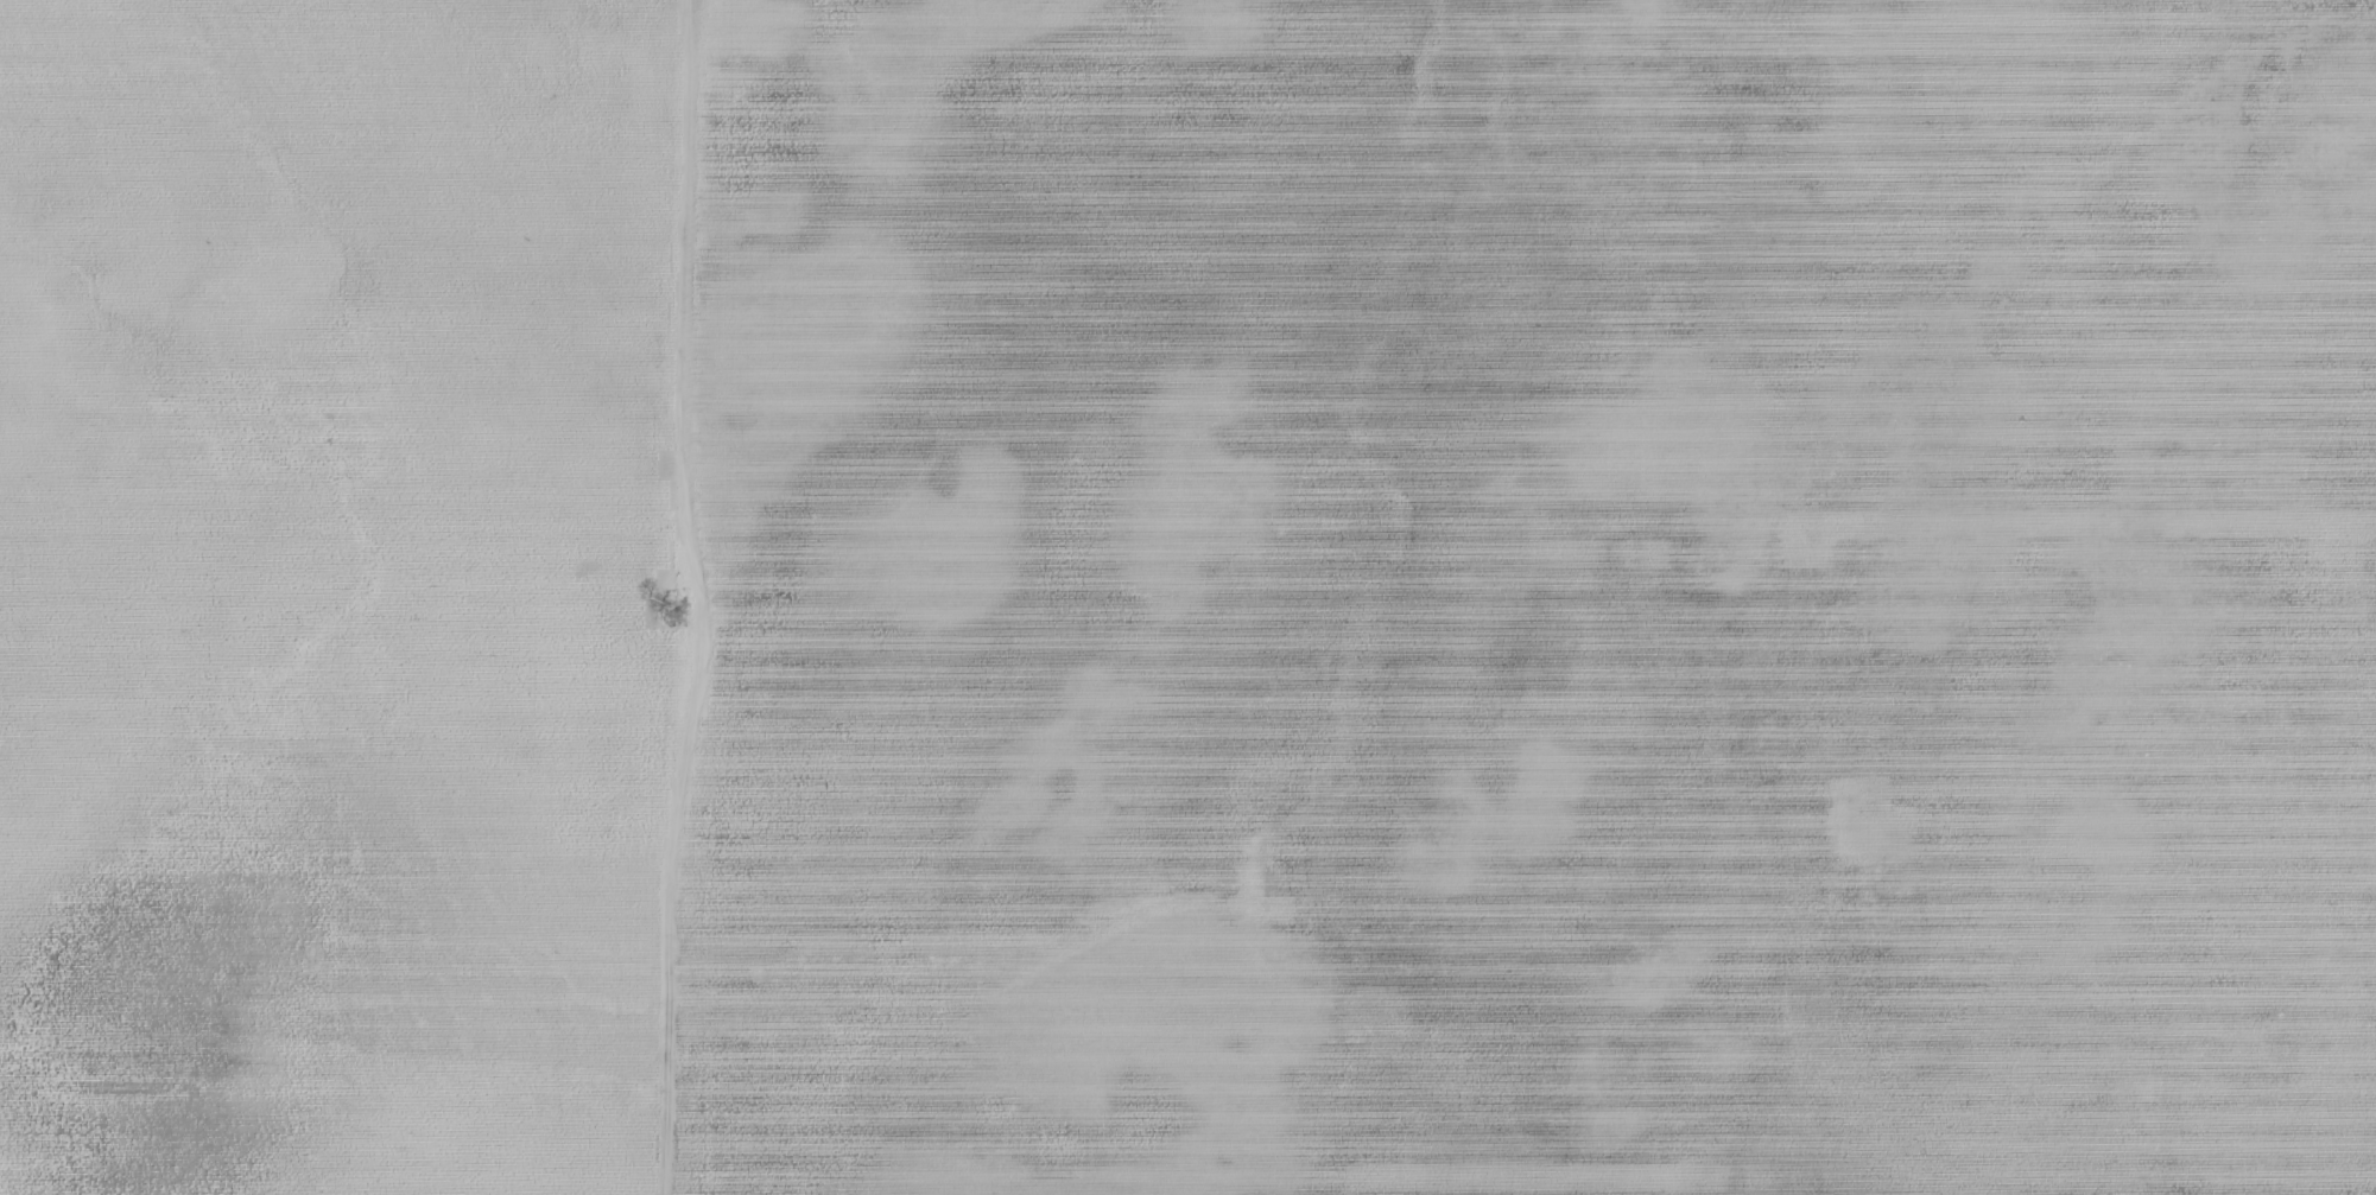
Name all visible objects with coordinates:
road: (696, 597)

